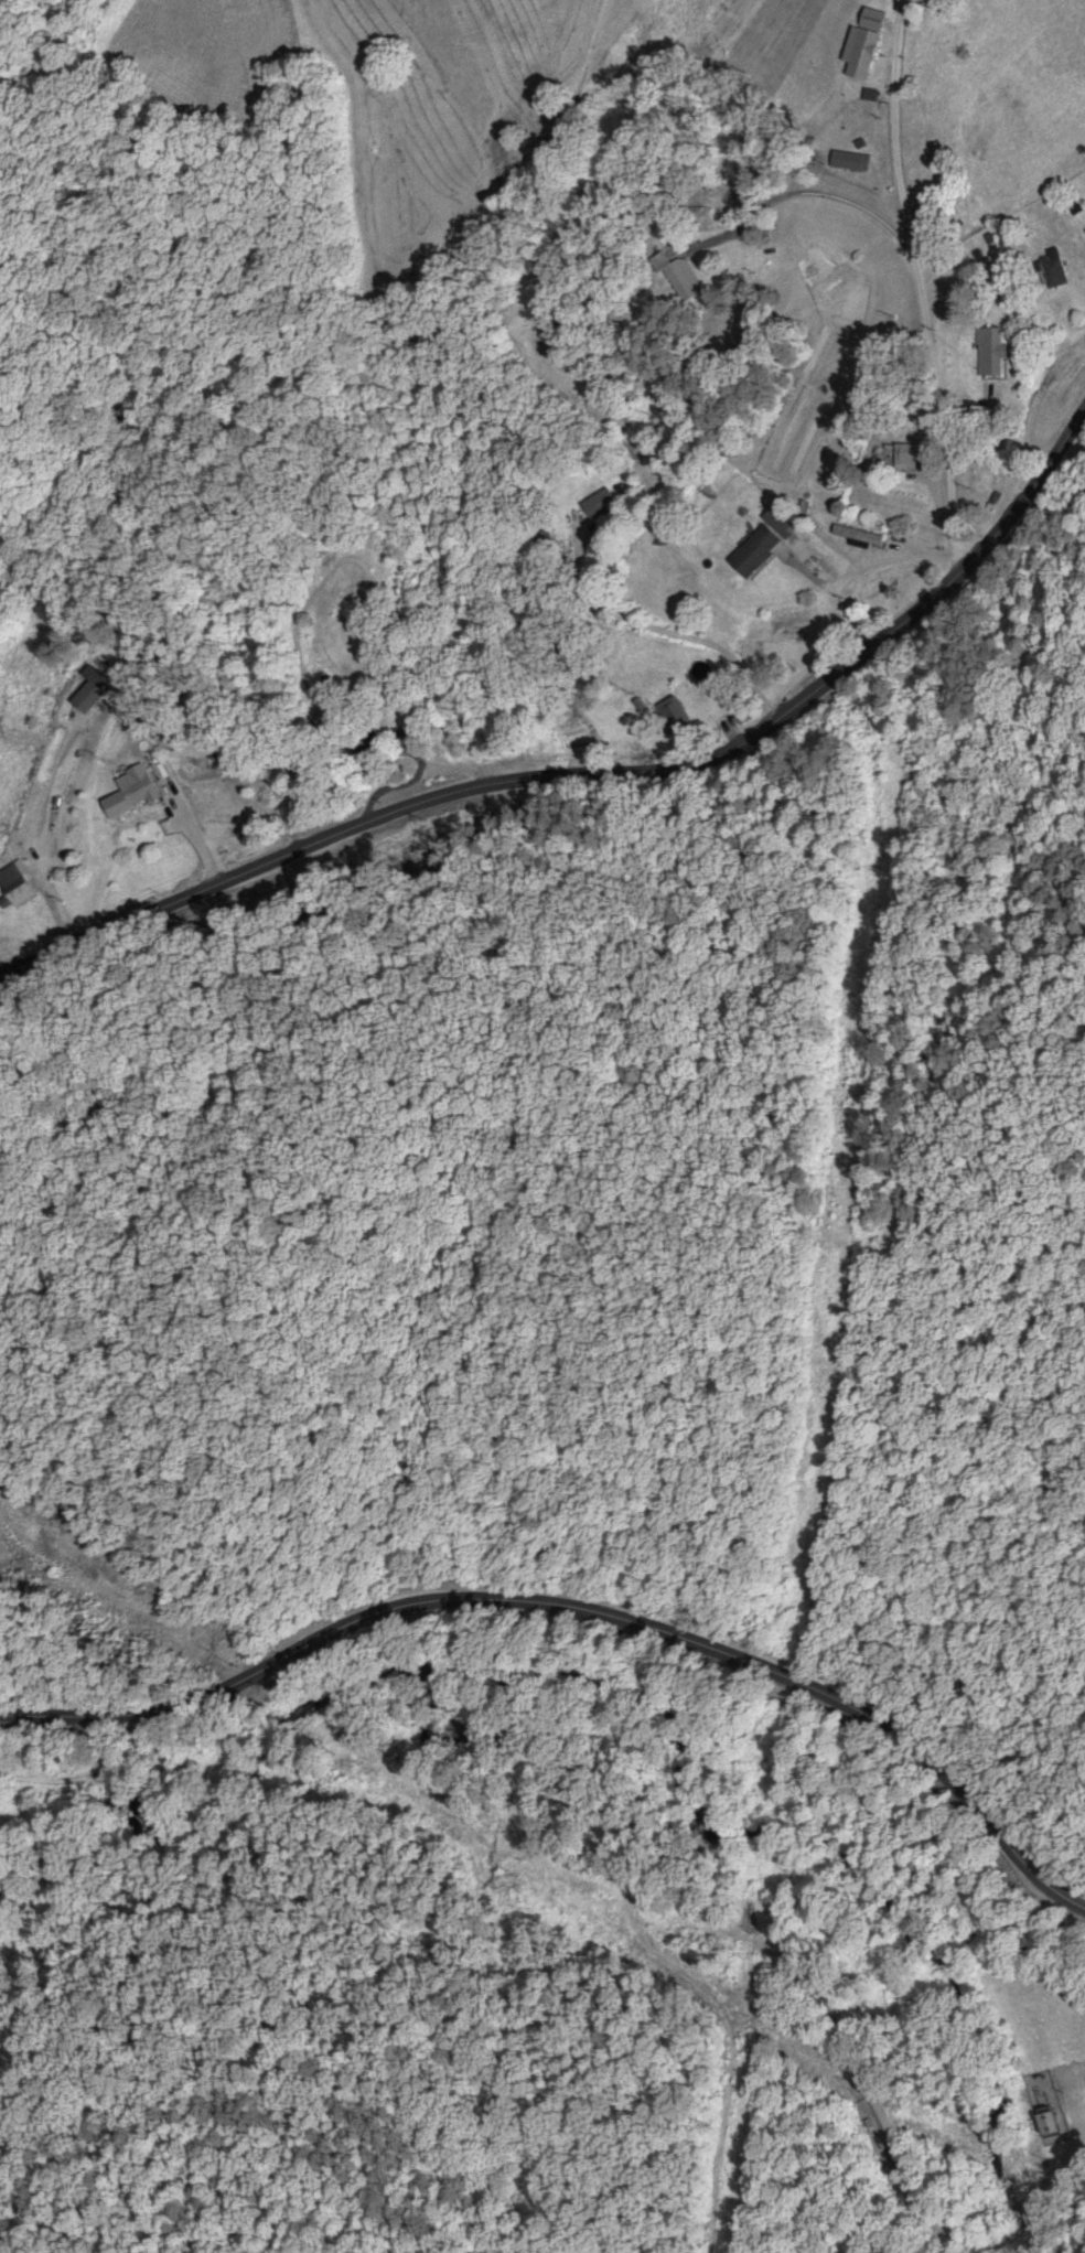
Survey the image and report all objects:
building: (872, 44)
building: (861, 161)
building: (687, 282)
road: (930, 294)
road: (320, 374)
building: (917, 454)
building: (601, 504)
building: (760, 551)
road: (1032, 625)
road: (36, 677)
building: (99, 690)
building: (676, 716)
road: (595, 774)
building: (144, 786)
building: (24, 884)
road: (578, 1610)
building: (1056, 2124)
road: (919, 2185)

